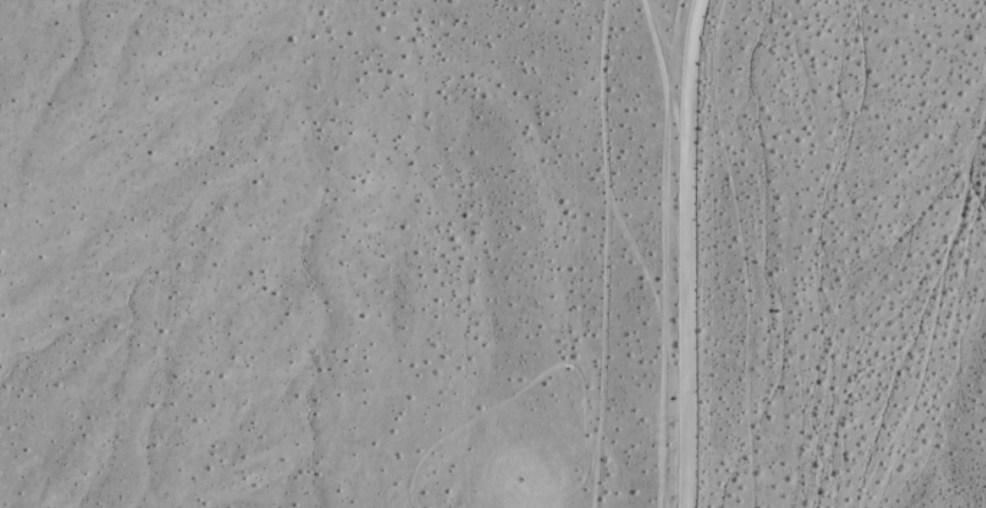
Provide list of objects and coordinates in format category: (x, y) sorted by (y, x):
road: (686, 253)

